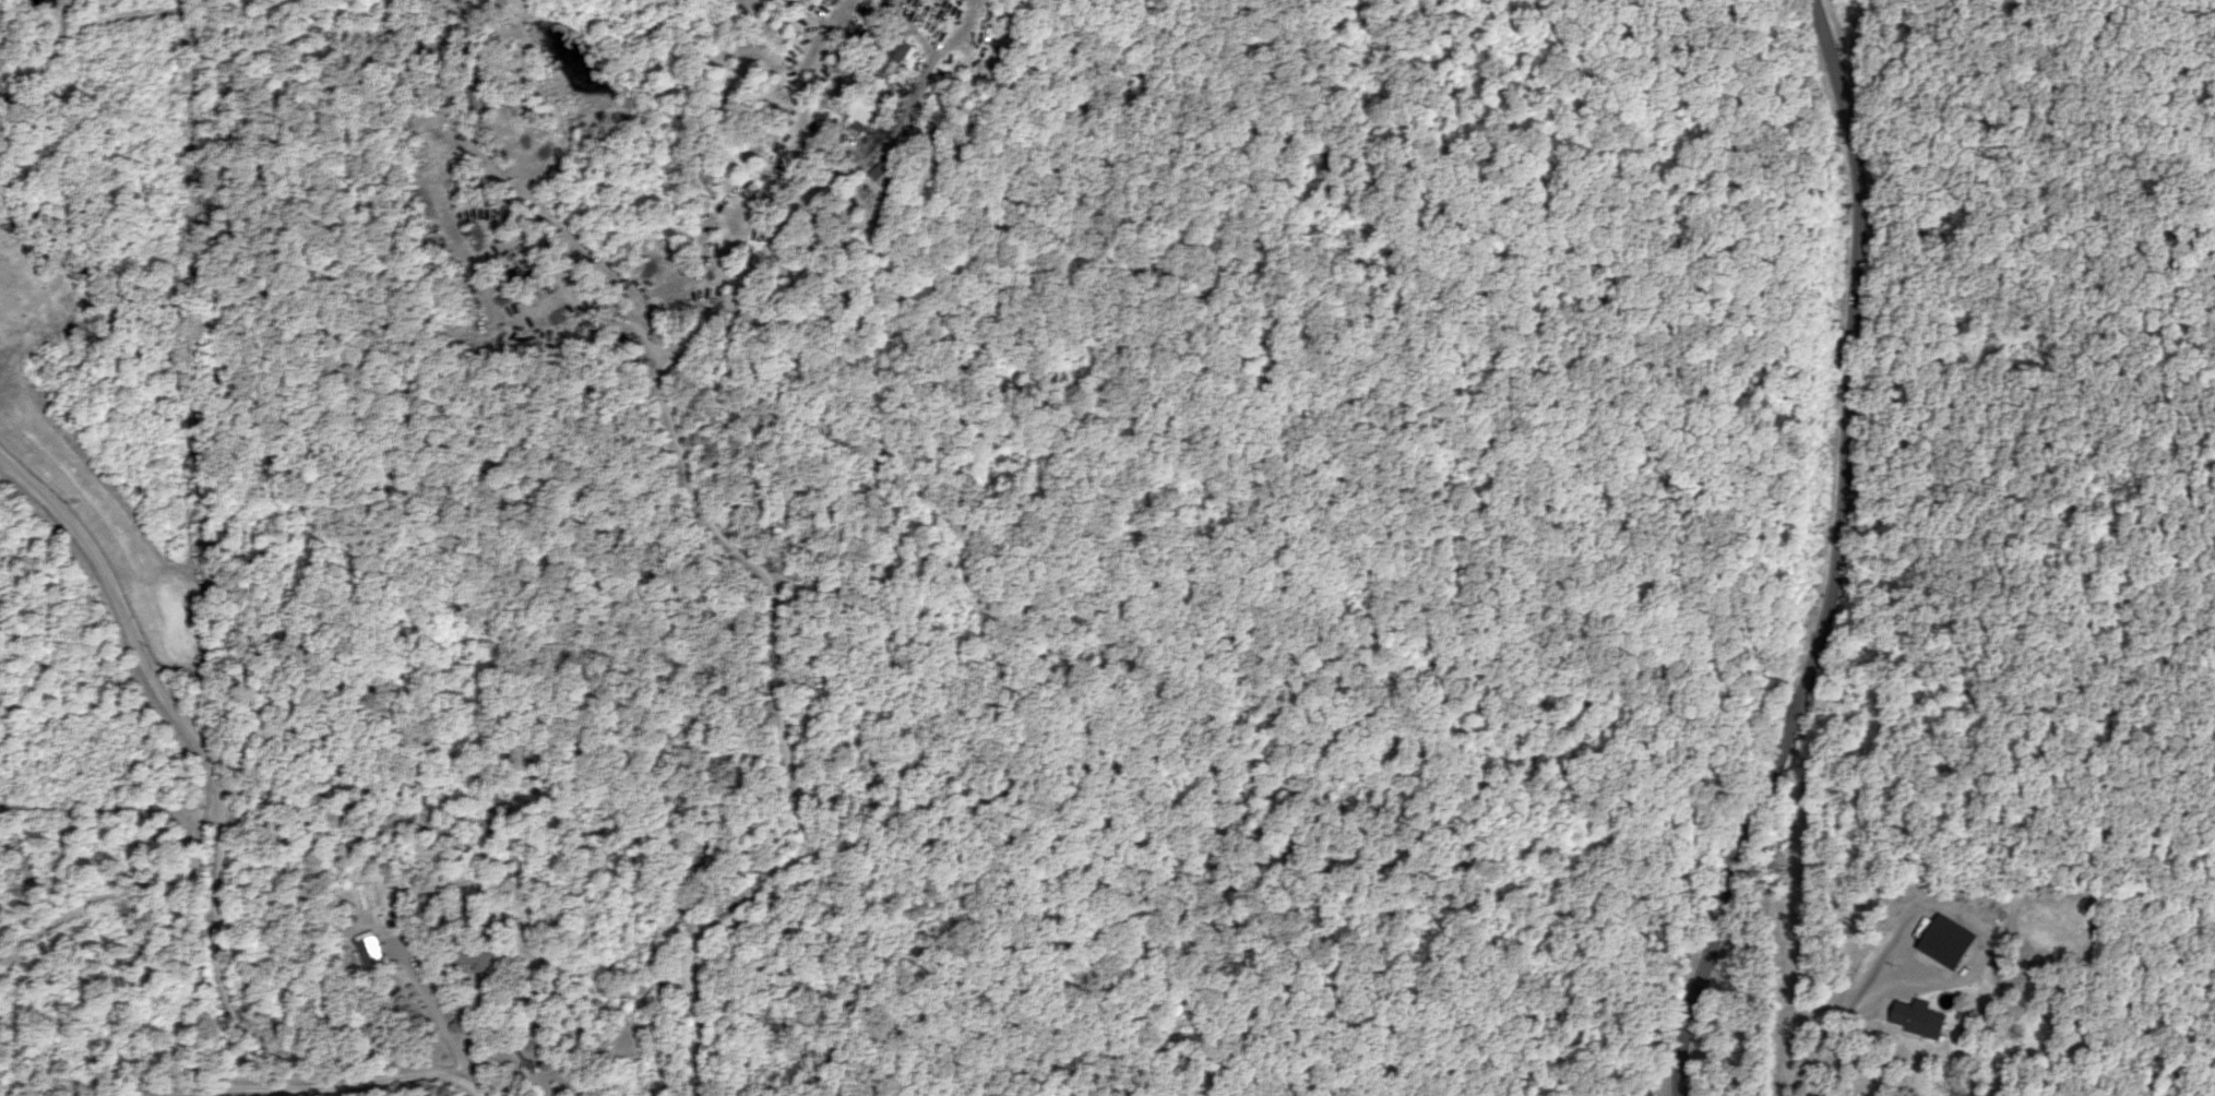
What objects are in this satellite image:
building: (900, 59)
building: (862, 115)
building: (890, 175)
park: (1701, 425)
road: (1838, 557)
road: (880, 574)
road: (262, 746)
building: (370, 895)
building: (1949, 942)
building: (373, 954)
building: (477, 957)
building: (1919, 1018)

